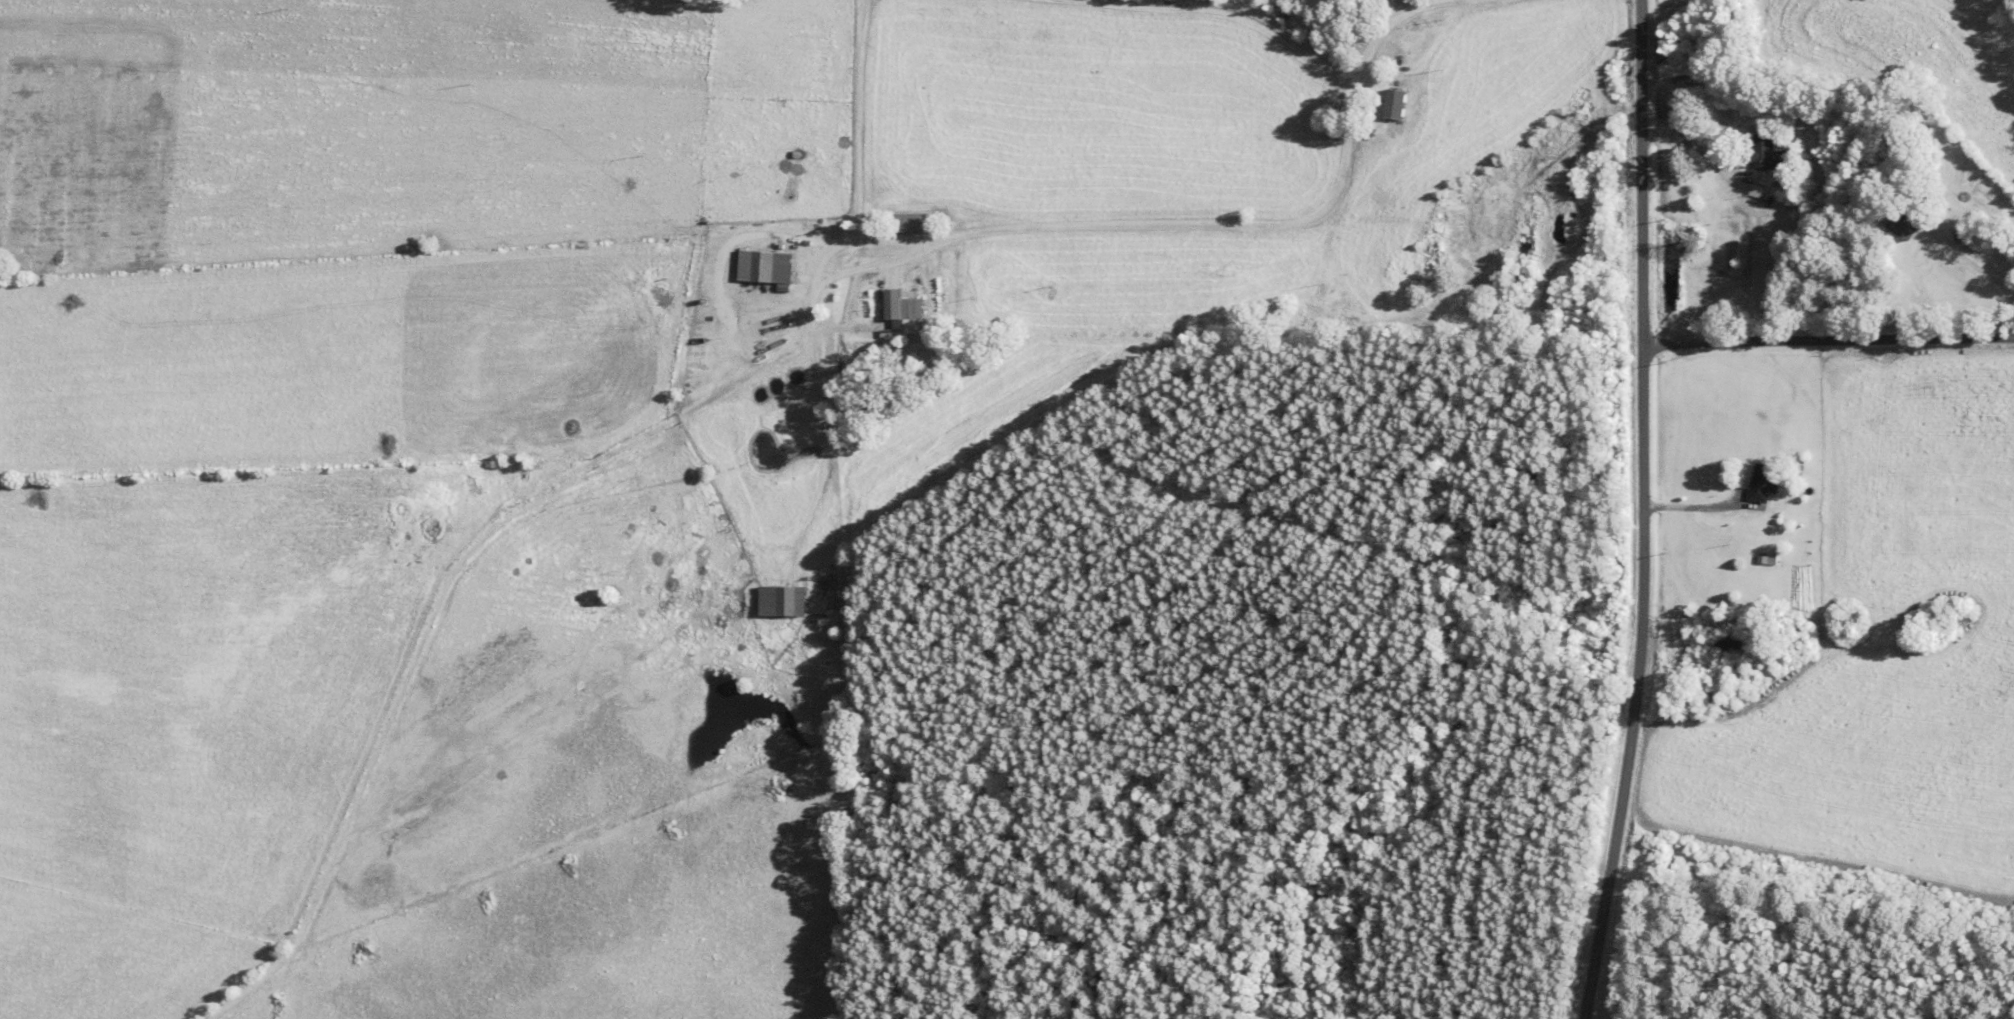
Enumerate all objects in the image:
building: (1402, 104)
building: (1768, 154)
building: (917, 224)
building: (1908, 226)
building: (769, 267)
building: (903, 307)
road: (1827, 342)
building: (1764, 484)
building: (1798, 501)
road: (1642, 511)
building: (789, 602)

